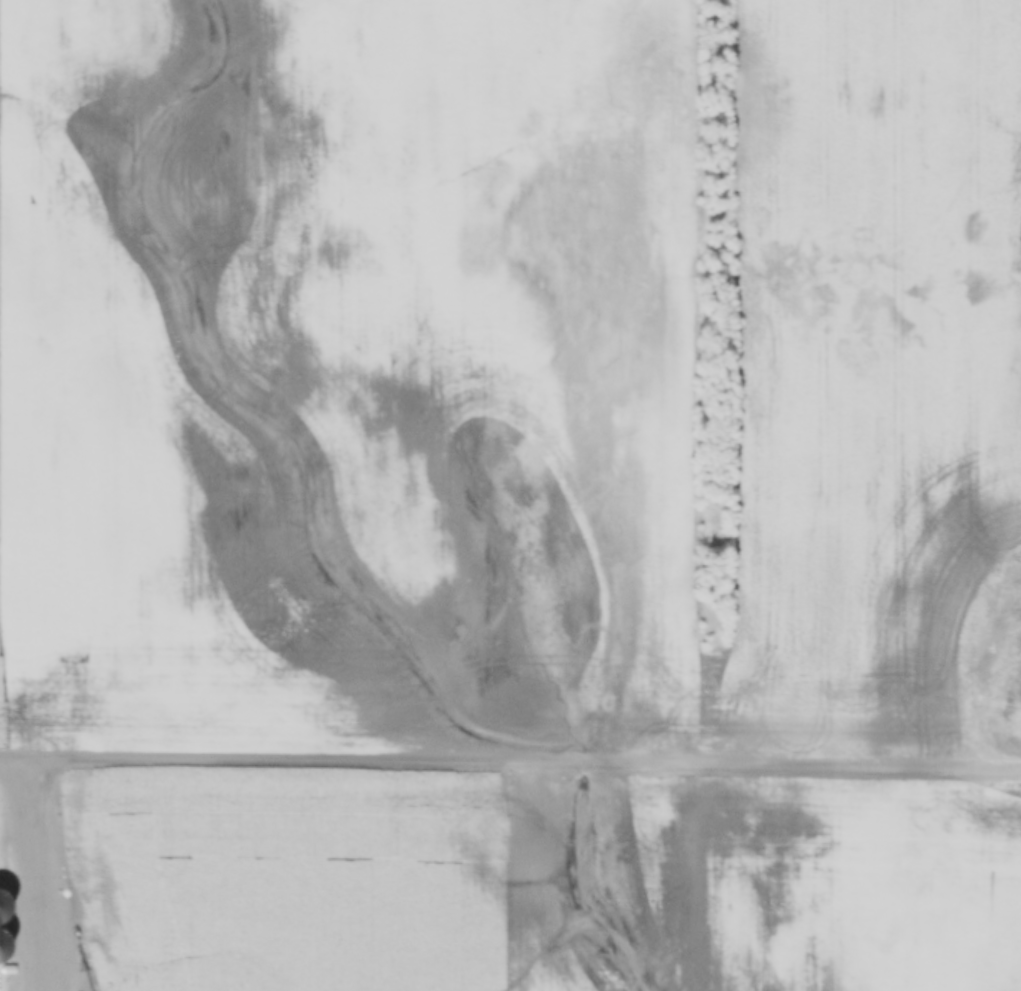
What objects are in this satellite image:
road: (6, 760)
road: (516, 767)
road: (12, 876)

